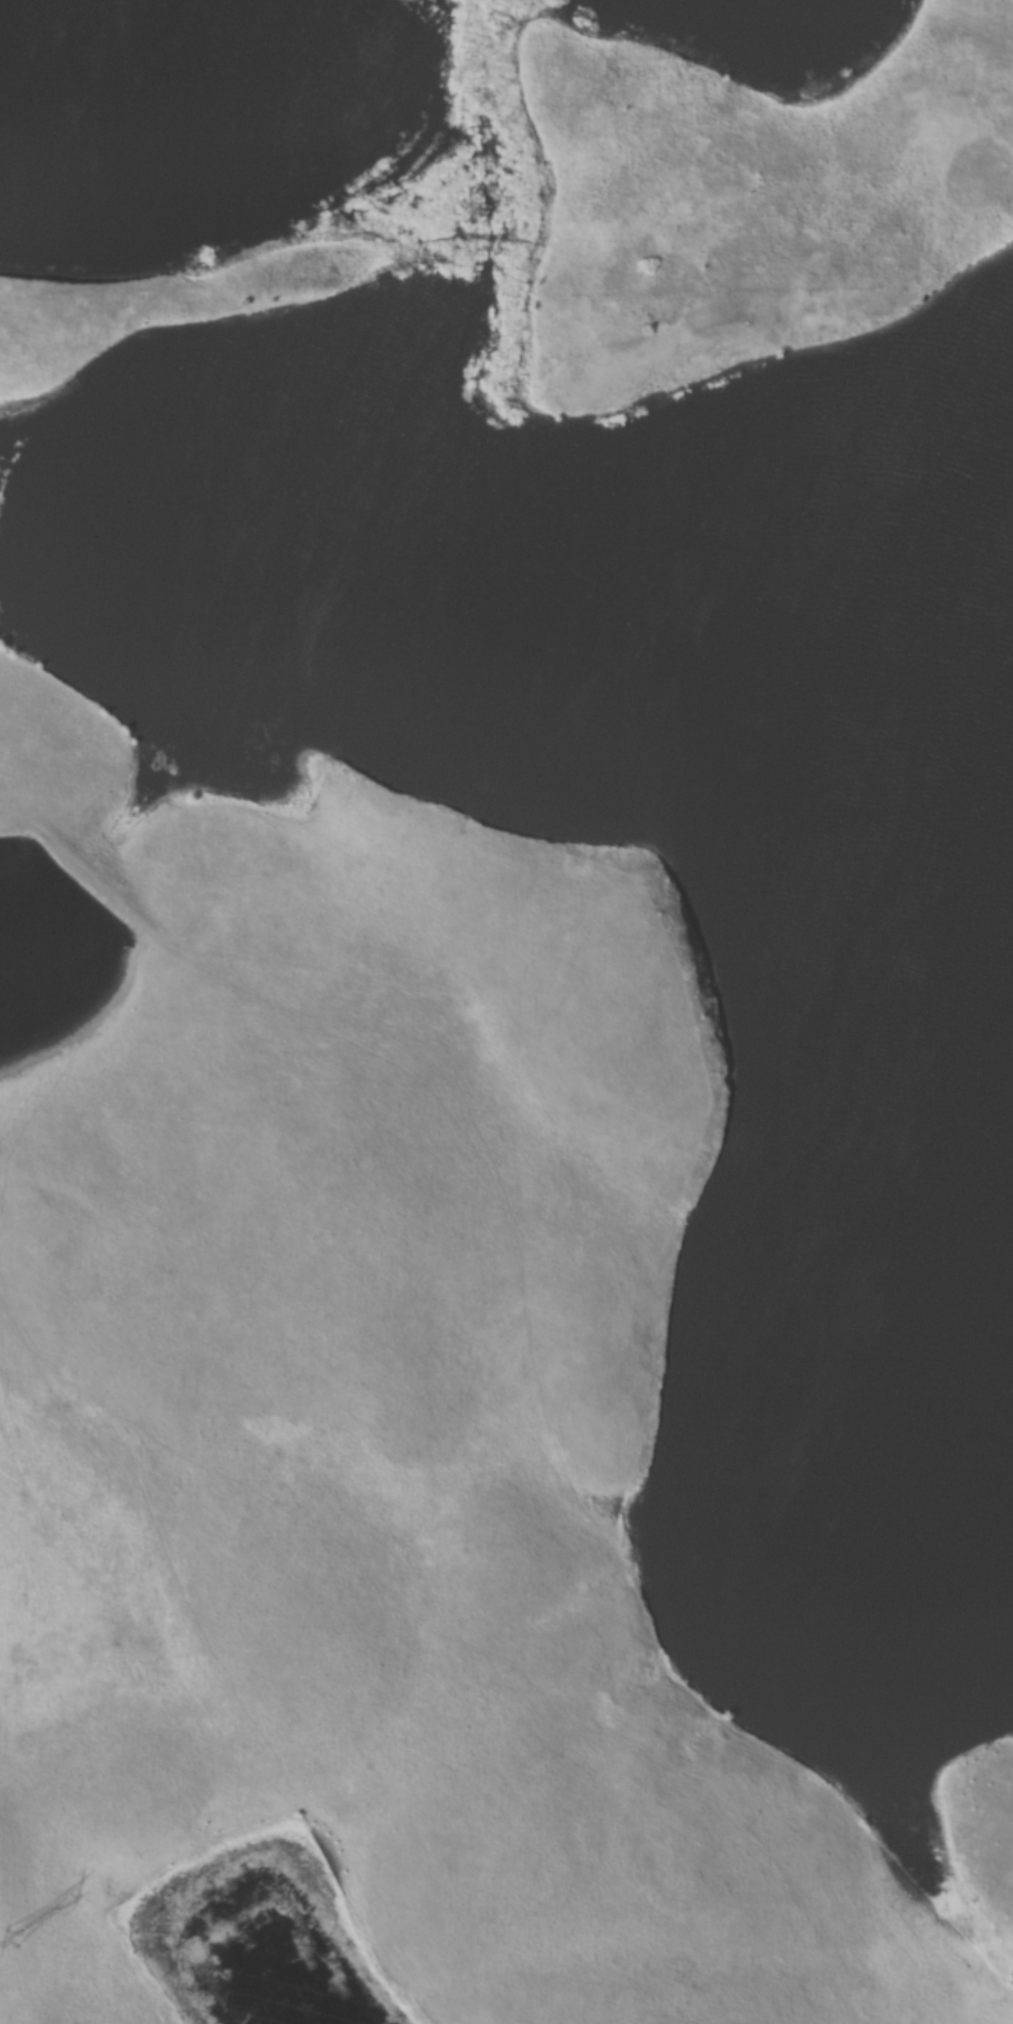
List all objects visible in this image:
power tower: (19, 1936)

